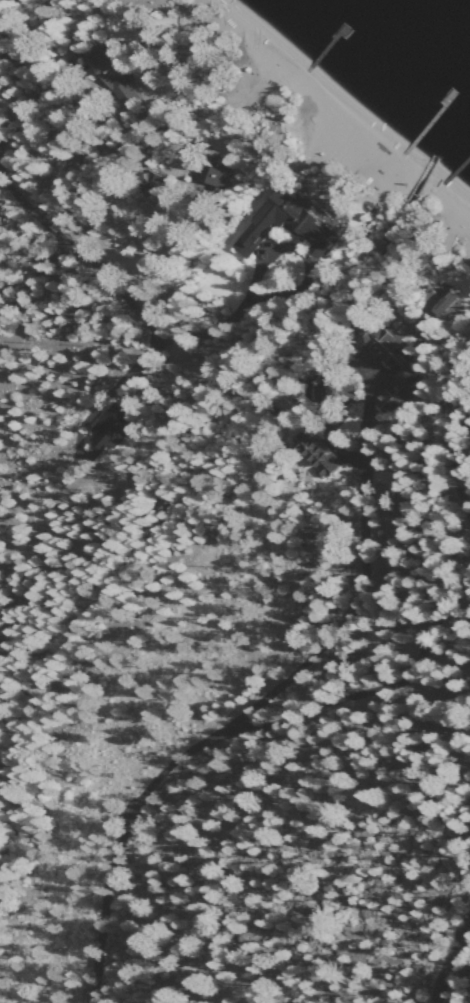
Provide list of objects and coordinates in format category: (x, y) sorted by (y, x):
pier: (327, 44)
building: (114, 74)
pier: (428, 120)
pier: (460, 164)
road: (109, 171)
building: (212, 171)
road: (86, 172)
road: (35, 205)
building: (329, 210)
building: (292, 226)
road: (33, 275)
road: (277, 290)
road: (112, 292)
building: (442, 306)
building: (391, 347)
building: (402, 388)
road: (122, 393)
building: (113, 427)
road: (461, 438)
road: (362, 496)
road: (372, 689)
road: (115, 846)
road: (446, 959)

